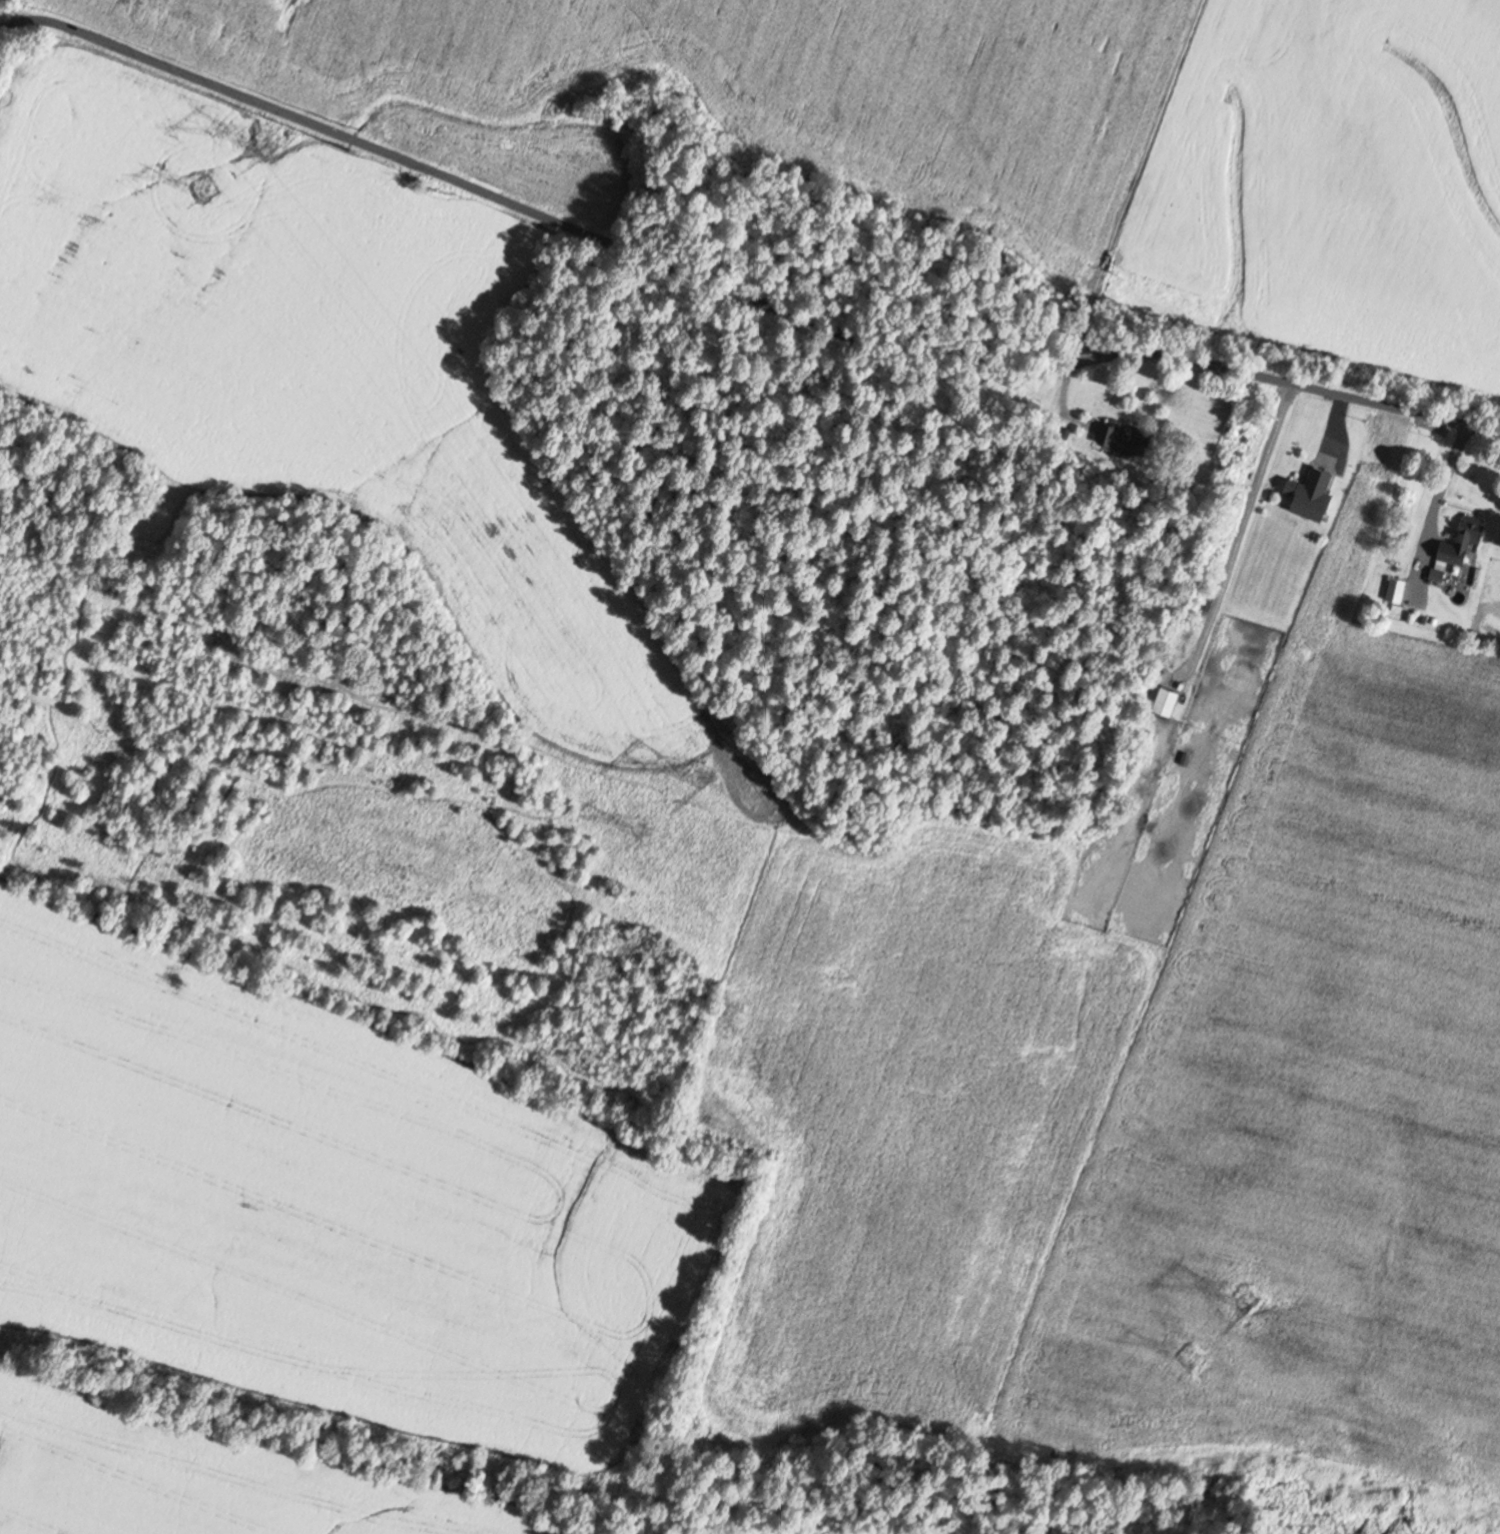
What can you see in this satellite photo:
power tower: (271, 145)
power tower: (205, 188)
road: (736, 291)
building: (1126, 437)
building: (1313, 492)
building: (1465, 540)
building: (1397, 589)
building: (1166, 701)
power tower: (704, 777)
power tower: (644, 827)
power tower: (1254, 1297)
power tower: (1196, 1356)

